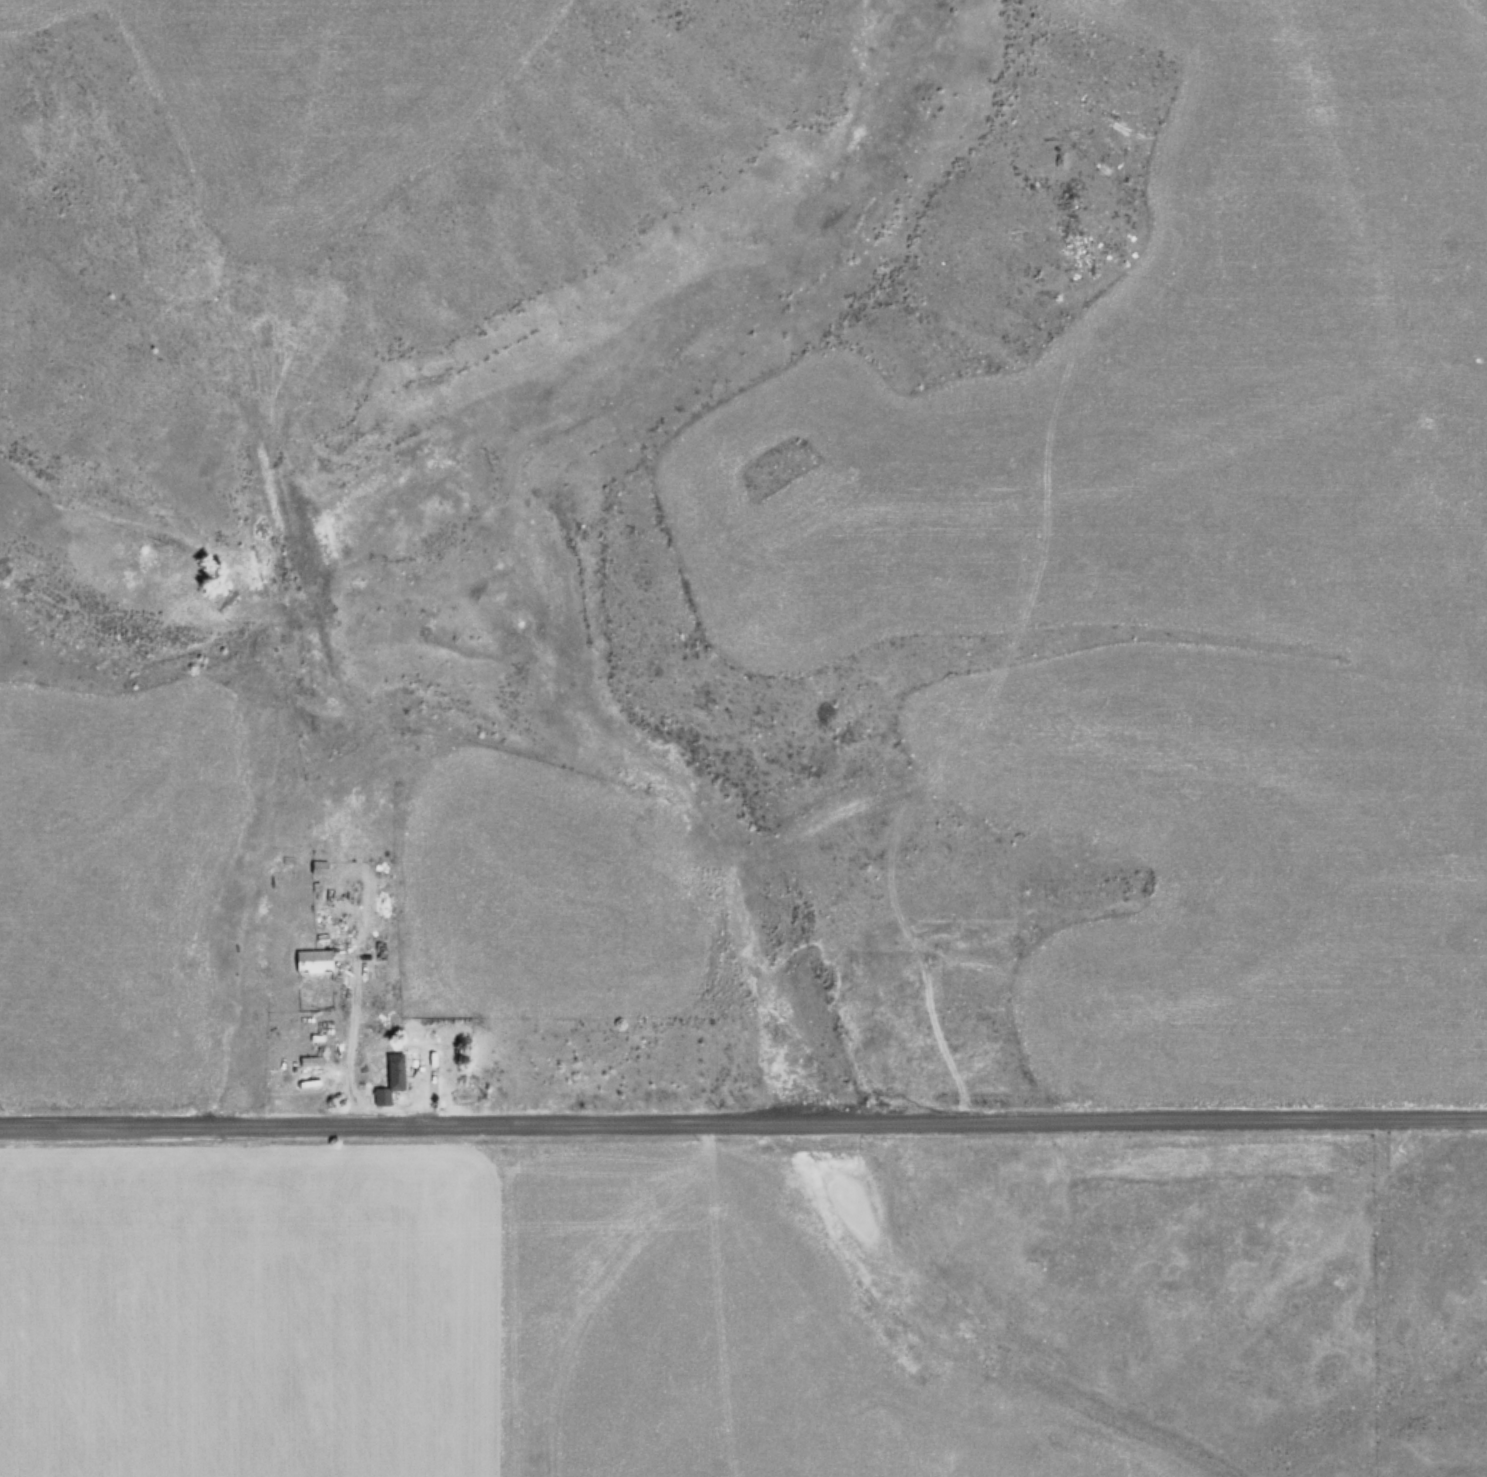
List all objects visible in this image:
dam: (297, 568)
building: (320, 872)
building: (314, 963)
building: (312, 1064)
building: (391, 1081)
road: (743, 1125)
crop: (694, 1321)

